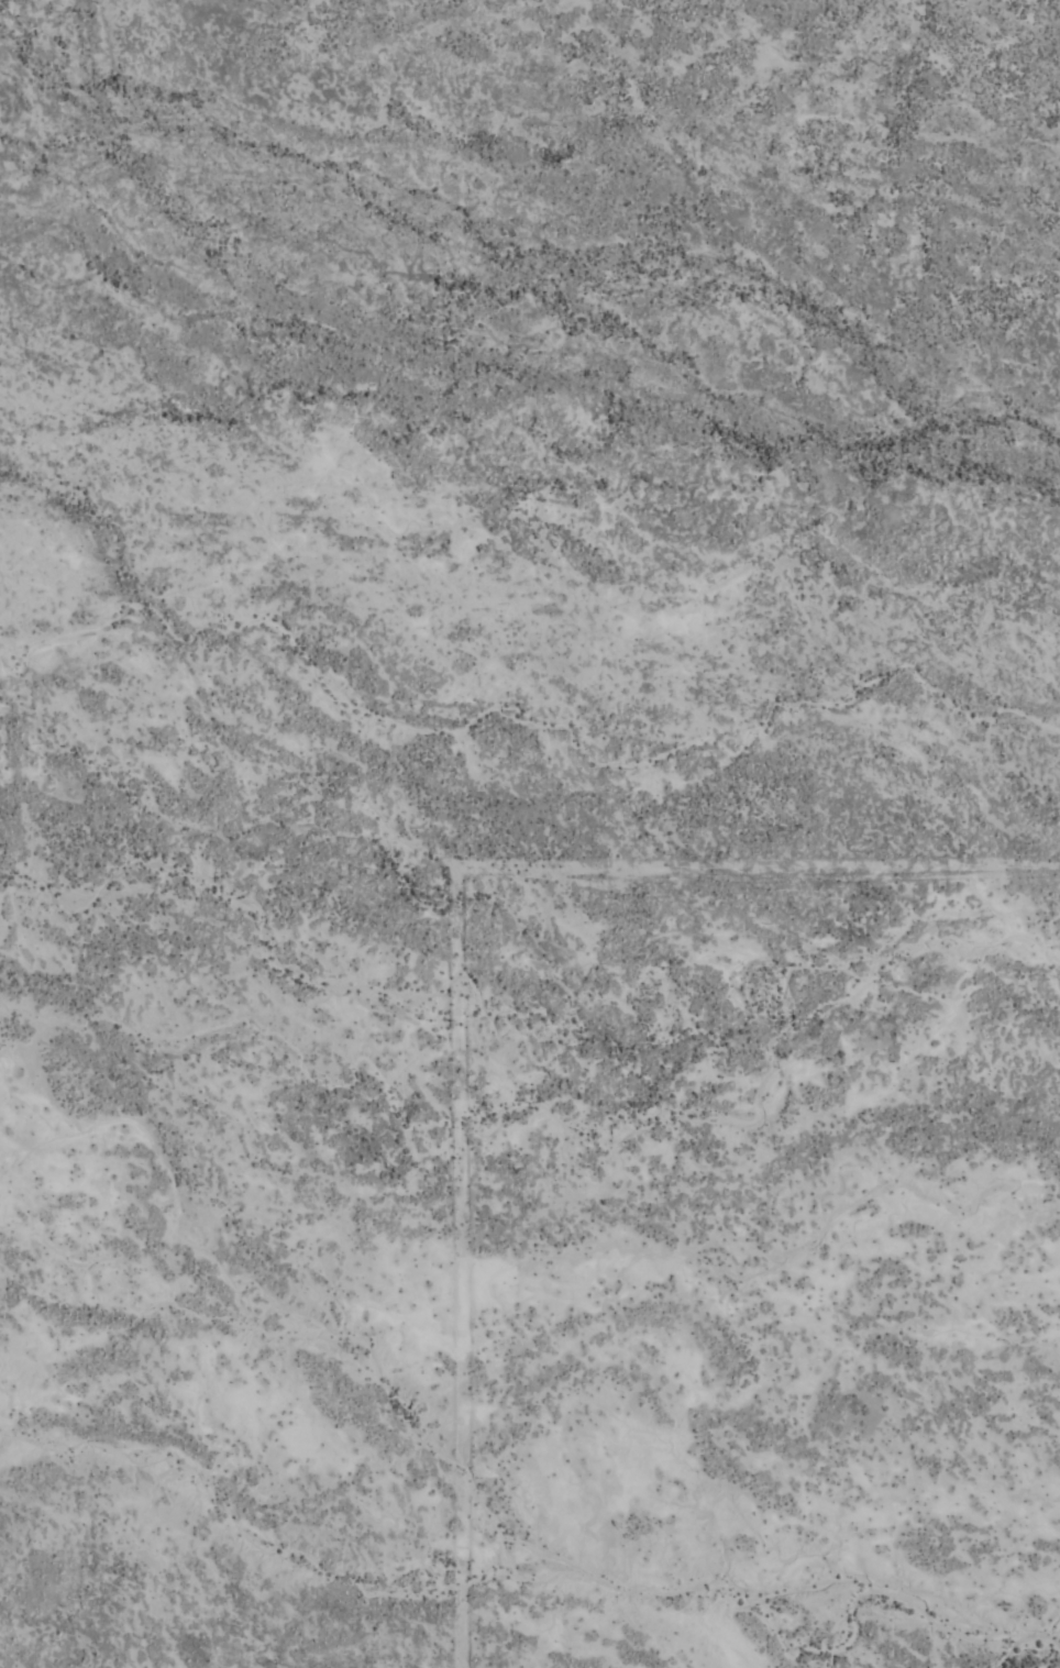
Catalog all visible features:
railway: (159, 1426)
railway: (153, 1436)

